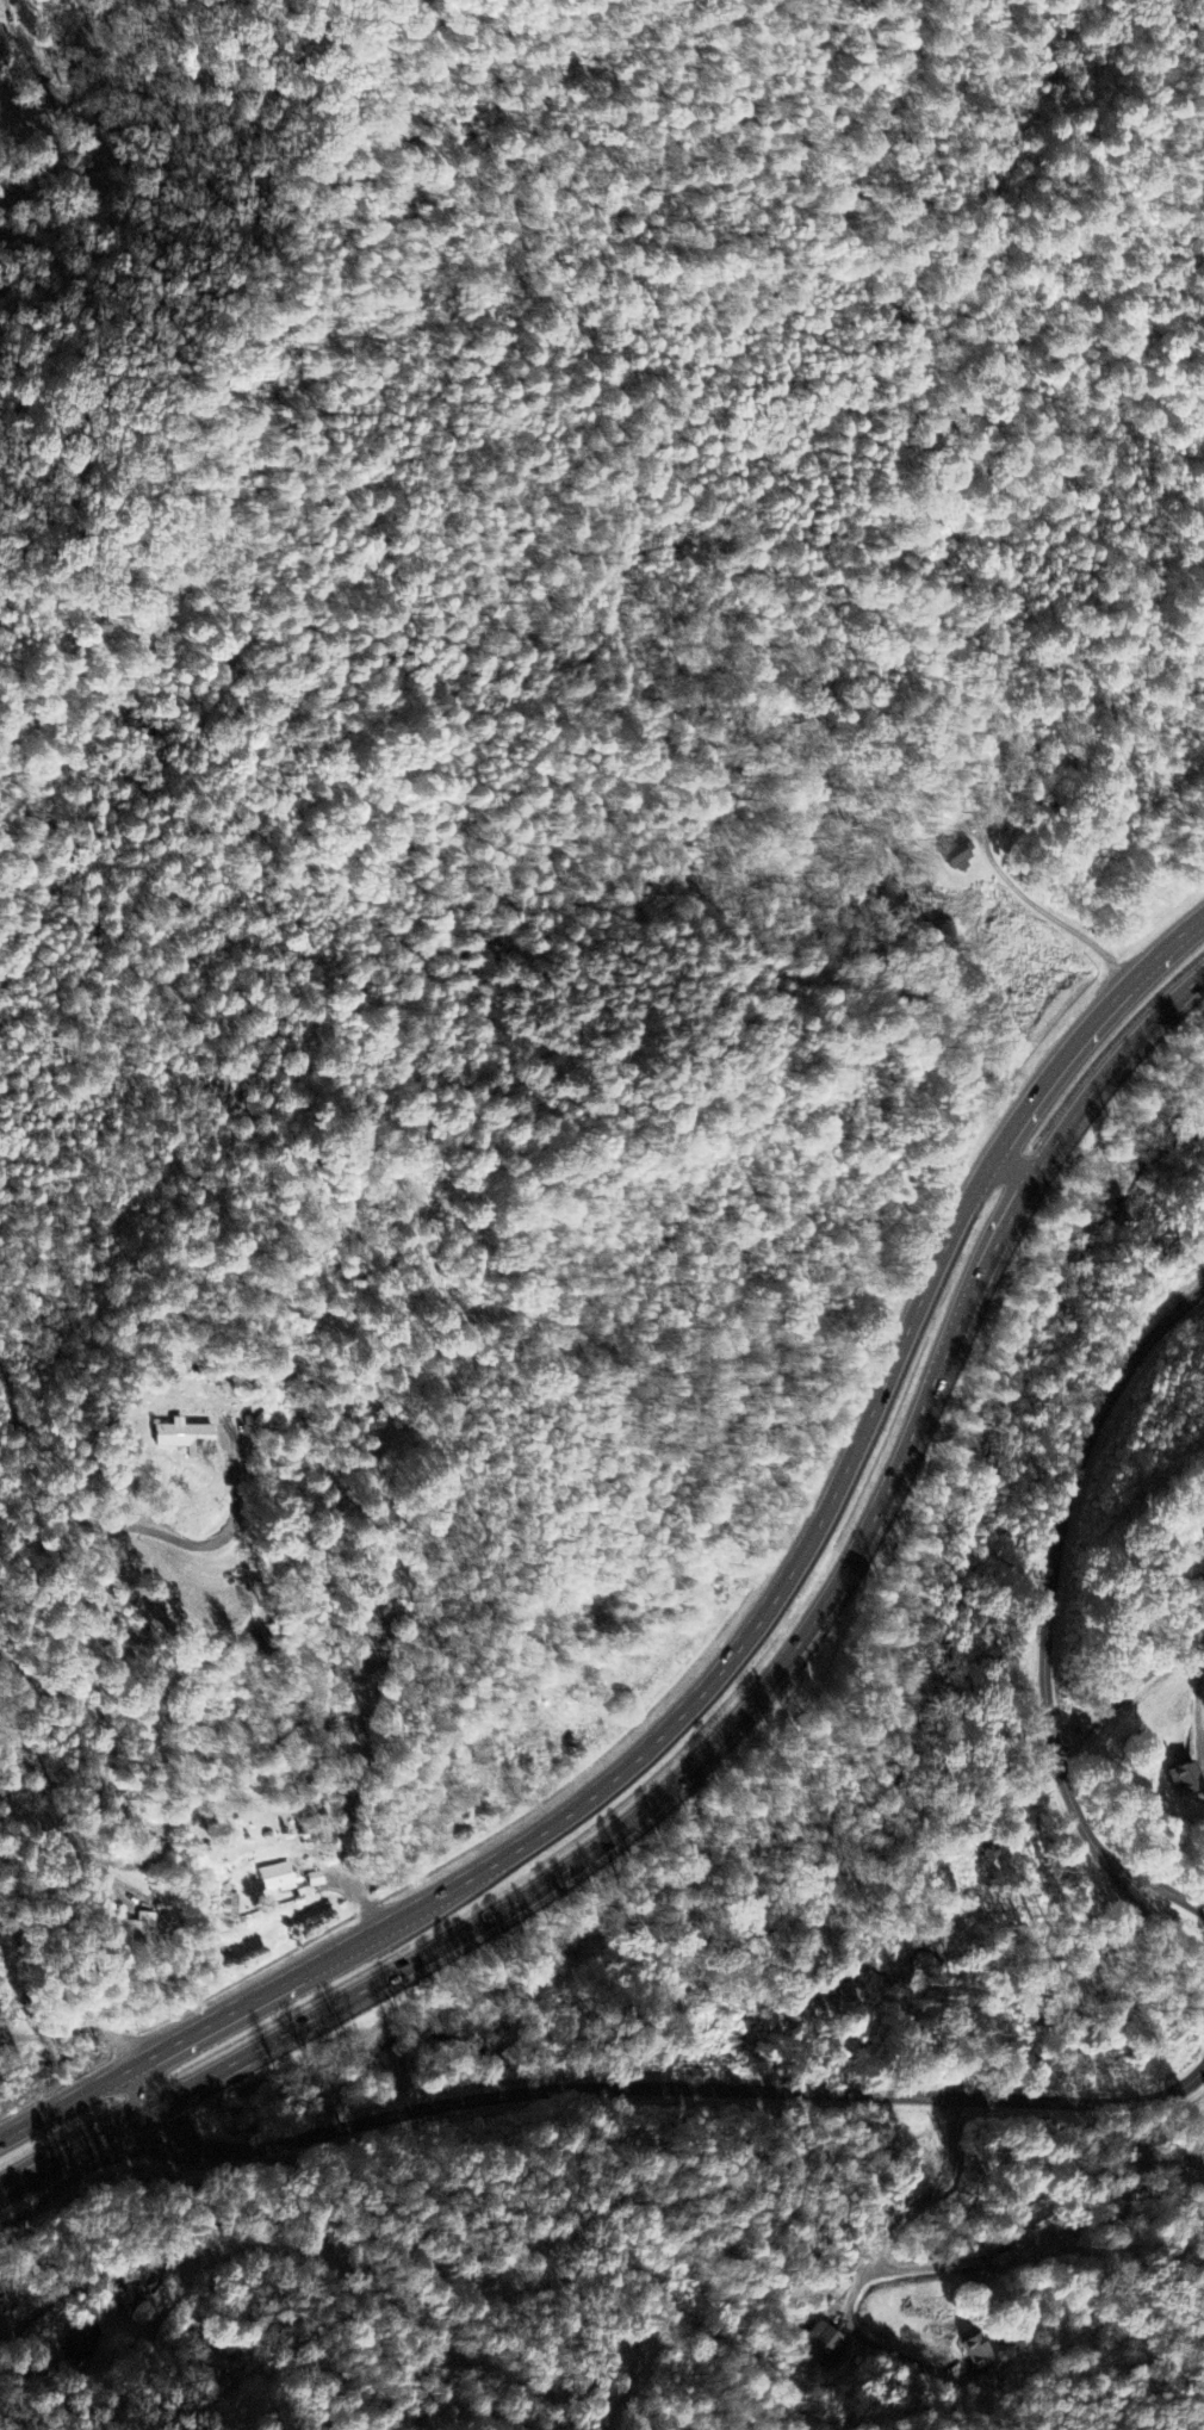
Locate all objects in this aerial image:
building: (1, 47)
road: (705, 690)
building: (957, 857)
road: (1008, 1167)
building: (184, 1438)
road: (1051, 1568)
road: (731, 1653)
road: (736, 1704)
building: (1180, 1780)
building: (278, 1879)
building: (318, 1880)
road: (1167, 1895)
building: (231, 1908)
road: (1167, 1914)
road: (653, 2088)
road: (52, 2189)
road: (941, 2193)
building: (1035, 2221)
road: (179, 2252)
road: (931, 2269)
building: (130, 2301)
building: (978, 2354)

